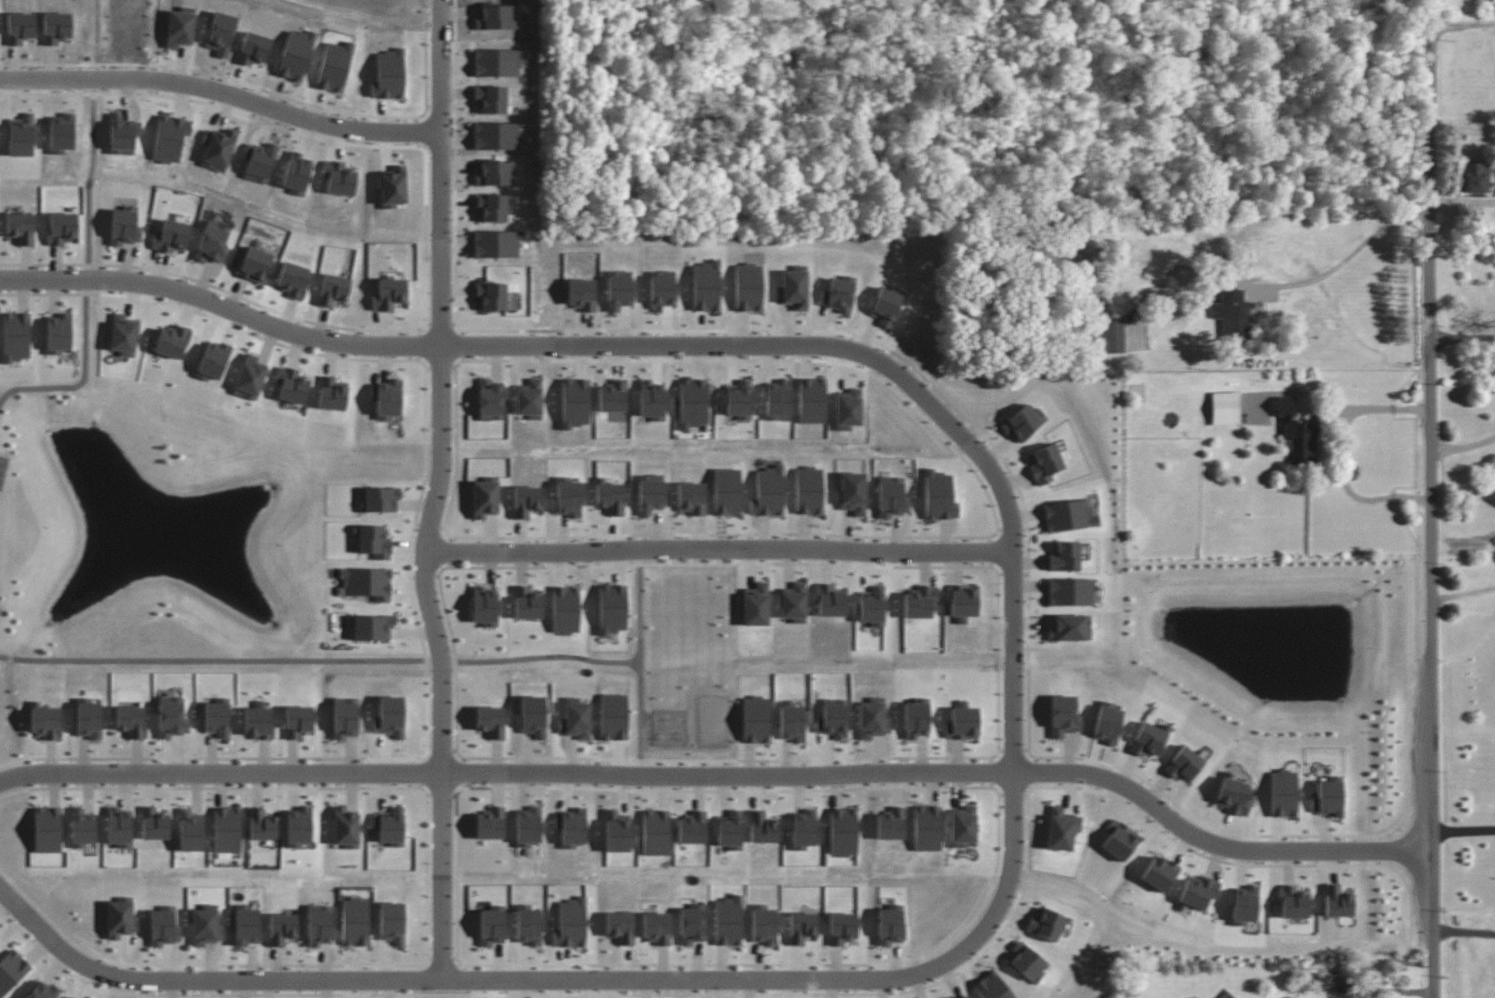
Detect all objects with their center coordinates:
road: (1461, 23)
park: (118, 31)
road: (97, 36)
road: (96, 83)
road: (221, 97)
road: (438, 120)
building: (1476, 177)
road: (91, 183)
road: (1458, 201)
building: (24, 226)
building: (124, 226)
building: (67, 227)
building: (171, 236)
building: (213, 243)
road: (1336, 263)
building: (255, 264)
building: (293, 280)
road: (89, 282)
building: (333, 289)
building: (496, 293)
building: (389, 294)
road: (254, 303)
building: (1233, 314)
road: (440, 324)
building: (63, 332)
building: (1110, 332)
building: (20, 333)
building: (128, 333)
road: (1463, 336)
building: (180, 338)
road: (325, 342)
road: (873, 343)
road: (418, 345)
road: (462, 346)
building: (218, 358)
road: (766, 359)
road: (440, 367)
building: (250, 377)
road: (81, 382)
building: (297, 384)
building: (336, 391)
building: (387, 399)
building: (490, 401)
building: (1225, 408)
building: (1298, 433)
road: (969, 439)
road: (1465, 445)
road: (455, 455)
road: (1342, 456)
building: (1045, 463)
park: (4, 474)
building: (488, 493)
building: (384, 496)
building: (891, 498)
road: (1435, 499)
building: (526, 500)
building: (1068, 515)
park: (159, 535)
road: (721, 536)
building: (379, 539)
road: (994, 549)
road: (718, 550)
road: (448, 552)
road: (409, 554)
road: (719, 566)
building: (372, 580)
road: (1462, 594)
building: (830, 601)
building: (487, 602)
building: (920, 602)
building: (794, 603)
building: (756, 605)
building: (873, 607)
building: (612, 608)
road: (430, 609)
road: (640, 615)
building: (375, 625)
building: (1070, 627)
road: (227, 660)
road: (602, 661)
park: (687, 664)
building: (394, 710)
building: (220, 713)
building: (92, 716)
building: (1064, 716)
building: (47, 717)
building: (176, 717)
building: (344, 718)
building: (575, 718)
building: (832, 718)
building: (872, 718)
building: (261, 719)
building: (494, 719)
building: (134, 720)
building: (302, 720)
building: (962, 722)
building: (1107, 723)
building: (1148, 740)
road: (1013, 749)
road: (441, 751)
road: (727, 761)
building: (1184, 763)
road: (1035, 771)
road: (463, 772)
road: (725, 772)
road: (991, 772)
road: (419, 773)
road: (979, 787)
building: (1283, 793)
road: (1013, 795)
building: (1233, 795)
building: (1328, 797)
building: (394, 823)
building: (495, 823)
building: (154, 824)
building: (87, 825)
building: (266, 825)
building: (963, 826)
building: (52, 827)
building: (119, 827)
building: (231, 827)
building: (298, 827)
building: (571, 827)
building: (345, 828)
building: (692, 828)
building: (762, 828)
building: (1061, 828)
building: (803, 830)
building: (191, 831)
building: (730, 831)
road: (1463, 831)
building: (655, 832)
road: (1339, 836)
road: (1387, 849)
road: (1249, 863)
building: (1159, 873)
building: (1199, 891)
road: (426, 893)
building: (1337, 902)
building: (1293, 903)
building: (1244, 905)
building: (121, 918)
building: (727, 921)
building: (355, 922)
building: (392, 922)
building: (570, 923)
building: (691, 924)
building: (763, 924)
building: (1046, 924)
building: (206, 925)
building: (247, 925)
building: (319, 925)
building: (491, 925)
building: (528, 925)
building: (890, 925)
building: (163, 927)
building: (620, 927)
building: (801, 927)
building: (282, 928)
building: (656, 928)
building: (842, 928)
building: (0, 931)
road: (1465, 931)
road: (441, 957)
building: (1026, 963)
building: (14, 970)
road: (420, 979)
road: (464, 979)
road: (564, 979)
building: (1325, 981)
building: (992, 986)
building: (42, 990)
road: (1387, 990)
road: (573, 994)
building: (963, 996)
building: (70, 997)

